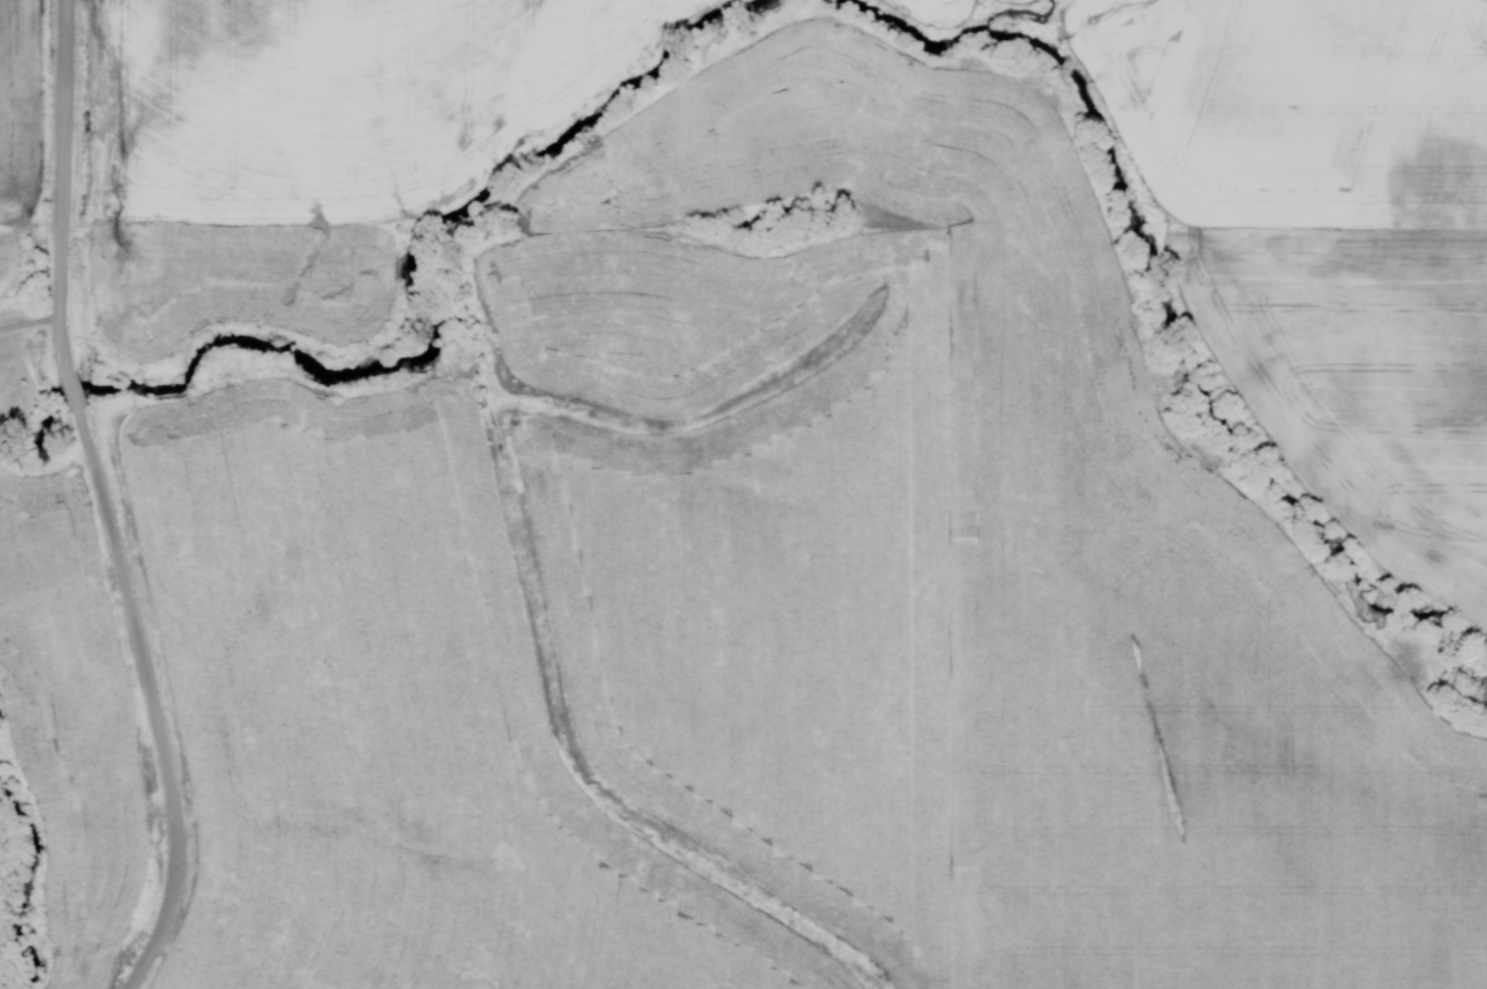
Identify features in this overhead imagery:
road: (66, 185)
road: (28, 323)
road: (71, 388)
road: (156, 698)

